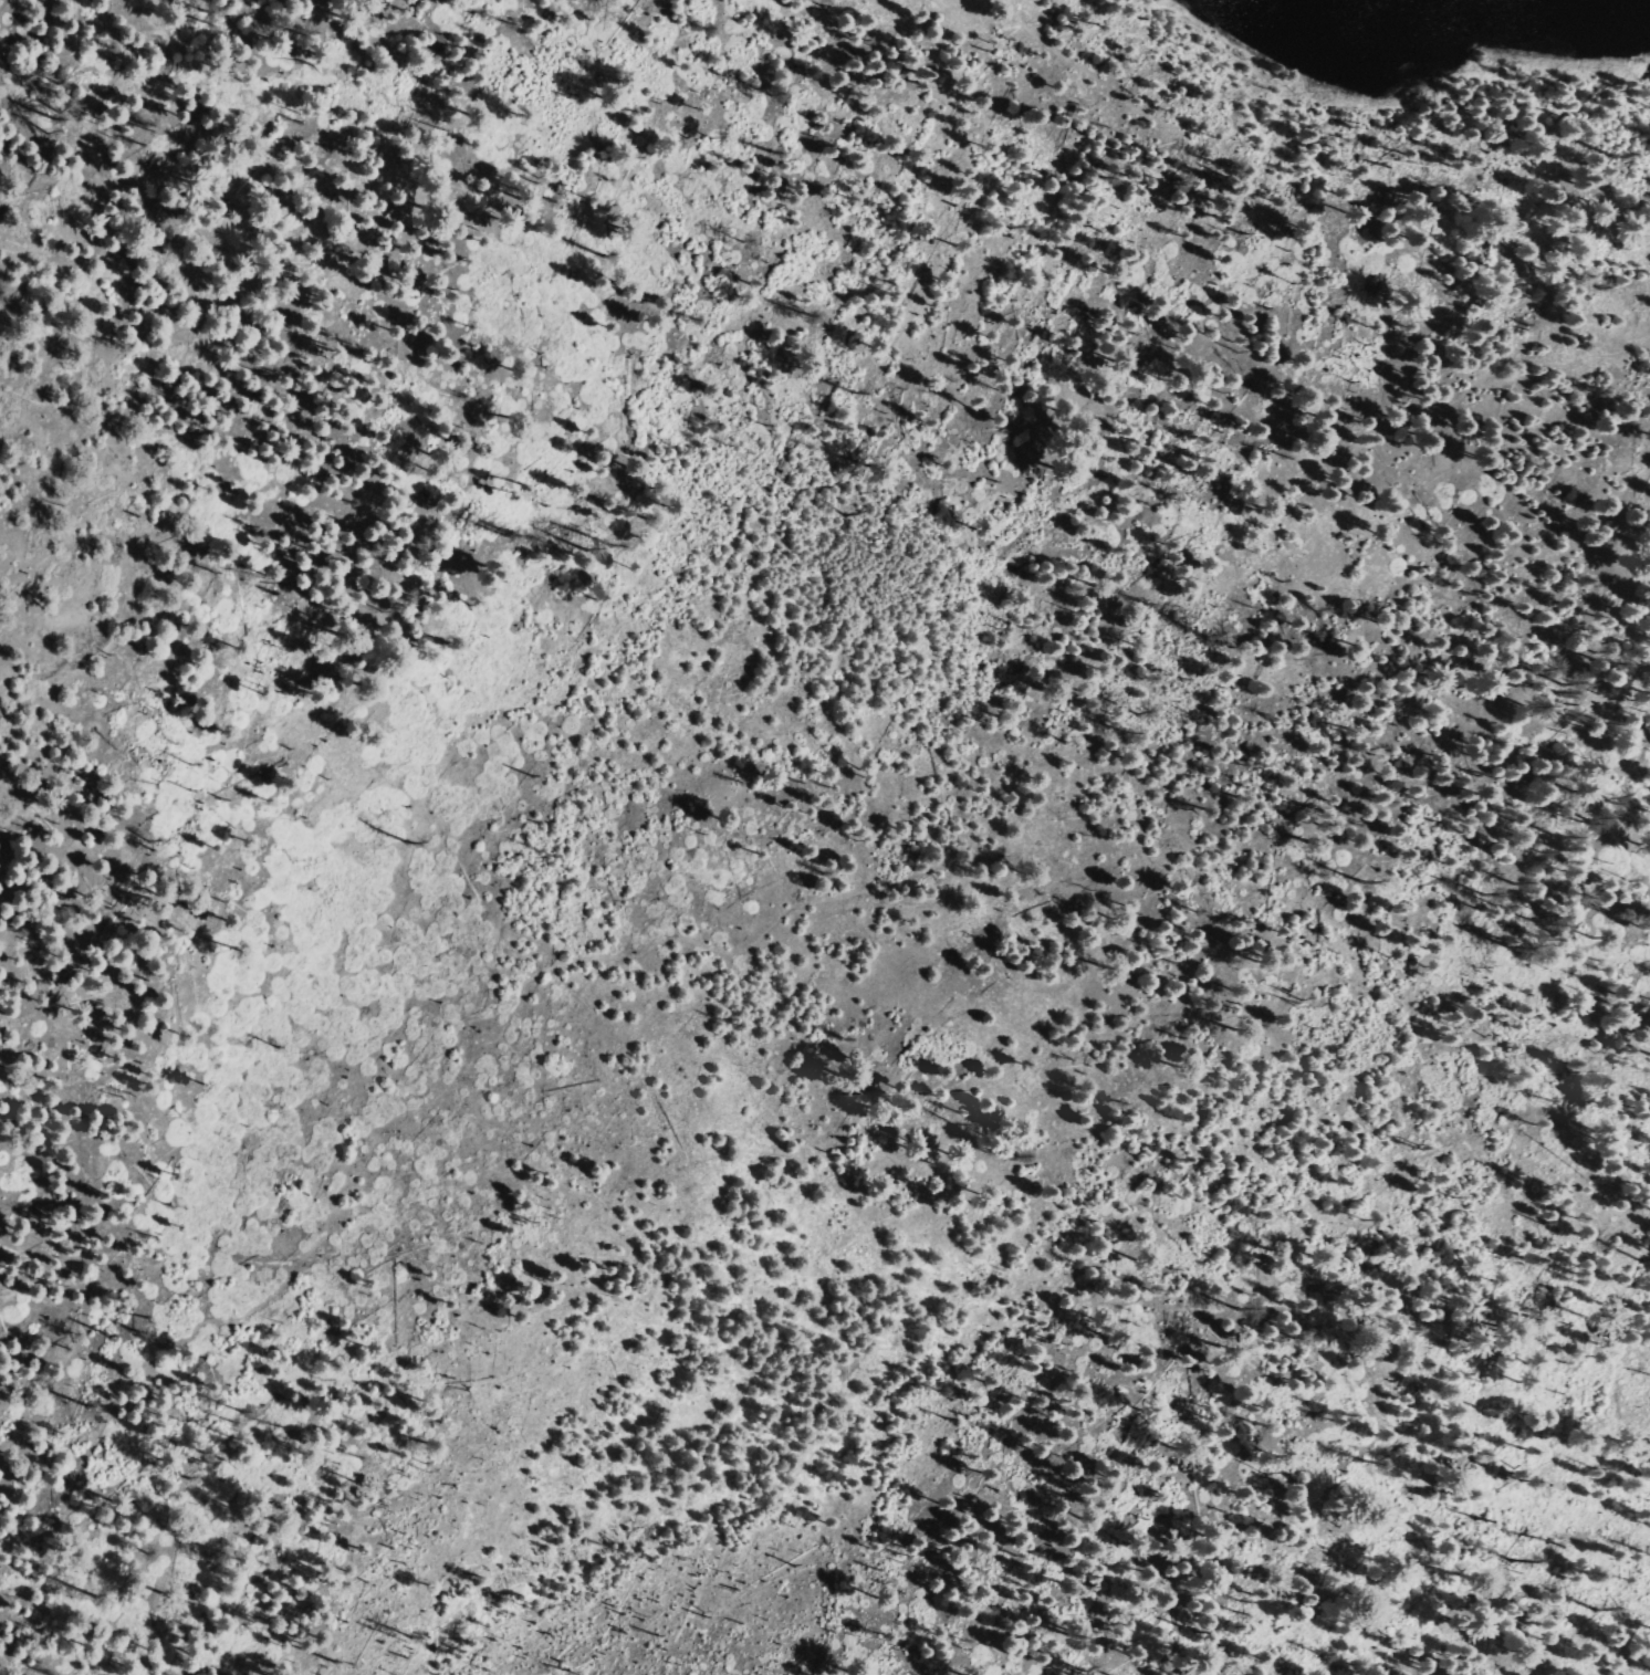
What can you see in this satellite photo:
road: (1205, 195)
road: (1500, 365)
road: (647, 946)

